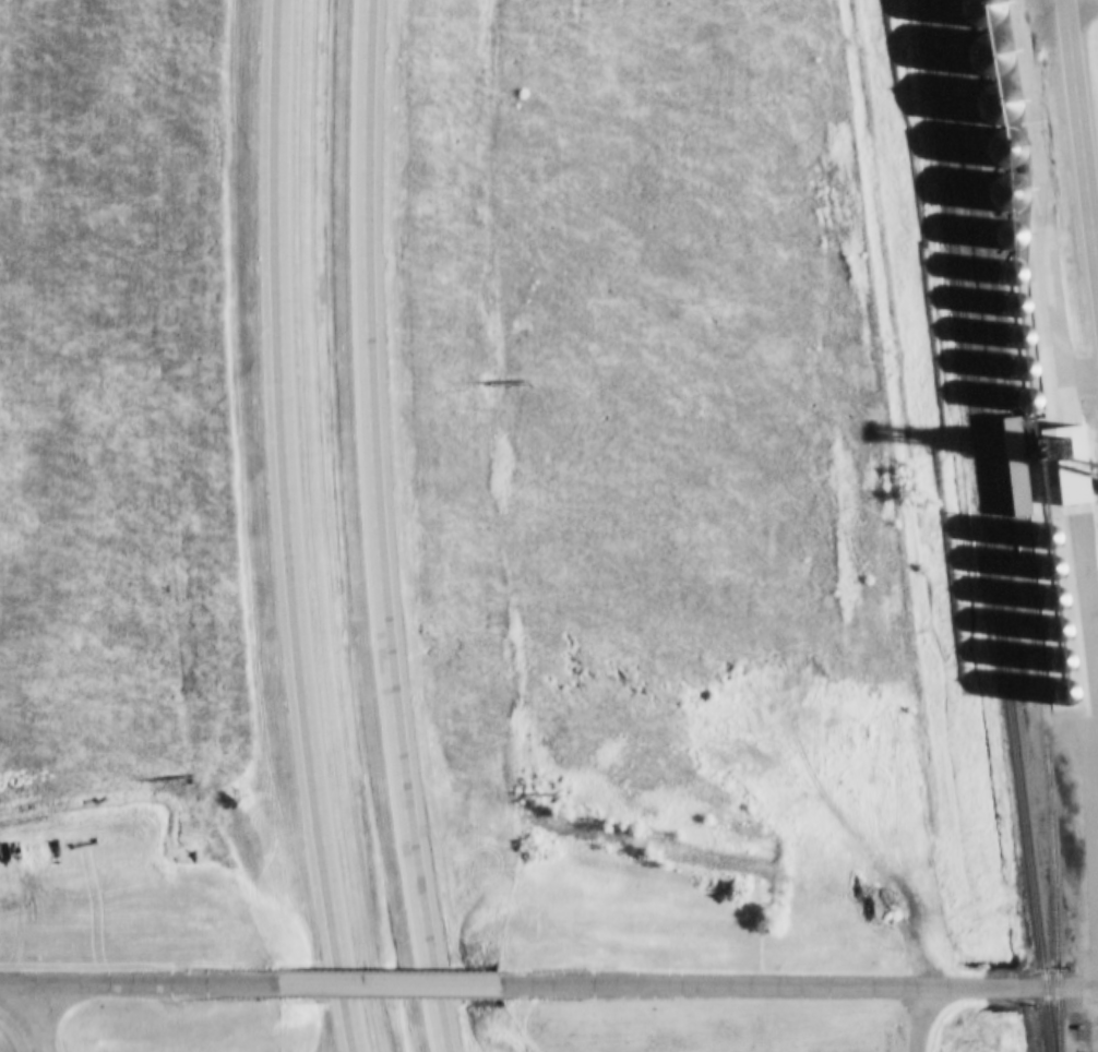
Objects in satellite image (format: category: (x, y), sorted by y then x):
building: (979, 12)
silo: (979, 12)
building: (986, 57)
silo: (986, 57)
building: (992, 105)
silo: (992, 105)
road: (1082, 125)
building: (1000, 150)
silo: (1000, 150)
building: (1003, 194)
silo: (1003, 194)
building: (1009, 236)
silo: (1009, 236)
building: (1012, 274)
silo: (1012, 274)
building: (1015, 306)
silo: (1015, 306)
building: (1018, 338)
silo: (1018, 338)
building: (1023, 370)
silo: (1023, 370)
building: (1026, 401)
silo: (1026, 401)
building: (1066, 467)
building: (1022, 469)
building: (1043, 509)
silo: (1043, 509)
building: (1046, 523)
silo: (1046, 523)
railway: (1016, 524)
railway: (987, 525)
road: (288, 527)
road: (374, 528)
building: (1047, 538)
silo: (1047, 538)
building: (1048, 552)
silo: (1048, 552)
building: (1050, 567)
silo: (1050, 567)
building: (1052, 583)
silo: (1052, 583)
building: (1054, 597)
silo: (1054, 597)
building: (1055, 612)
silo: (1055, 612)
building: (1059, 637)
silo: (1059, 637)
building: (1063, 671)
silo: (1063, 671)
road: (139, 983)
road: (390, 983)
road: (799, 987)
road: (32, 1017)
road: (917, 1019)

